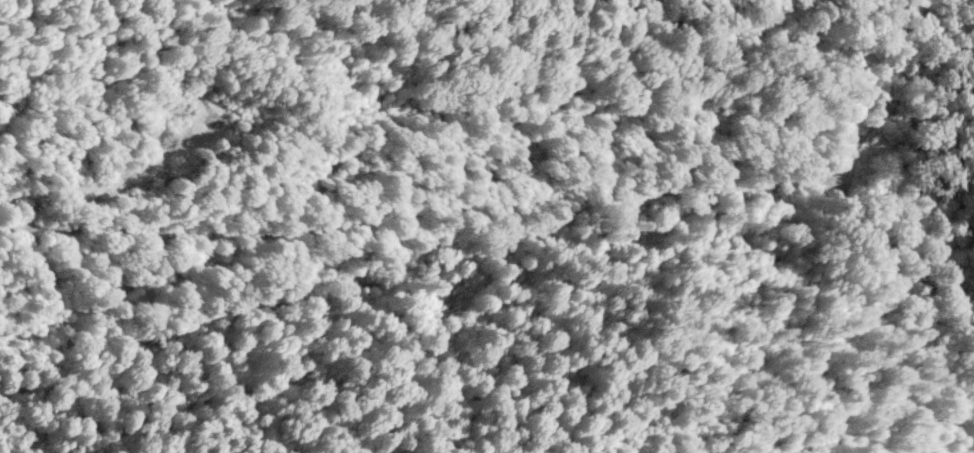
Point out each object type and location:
road: (513, 111)
road: (512, 204)

